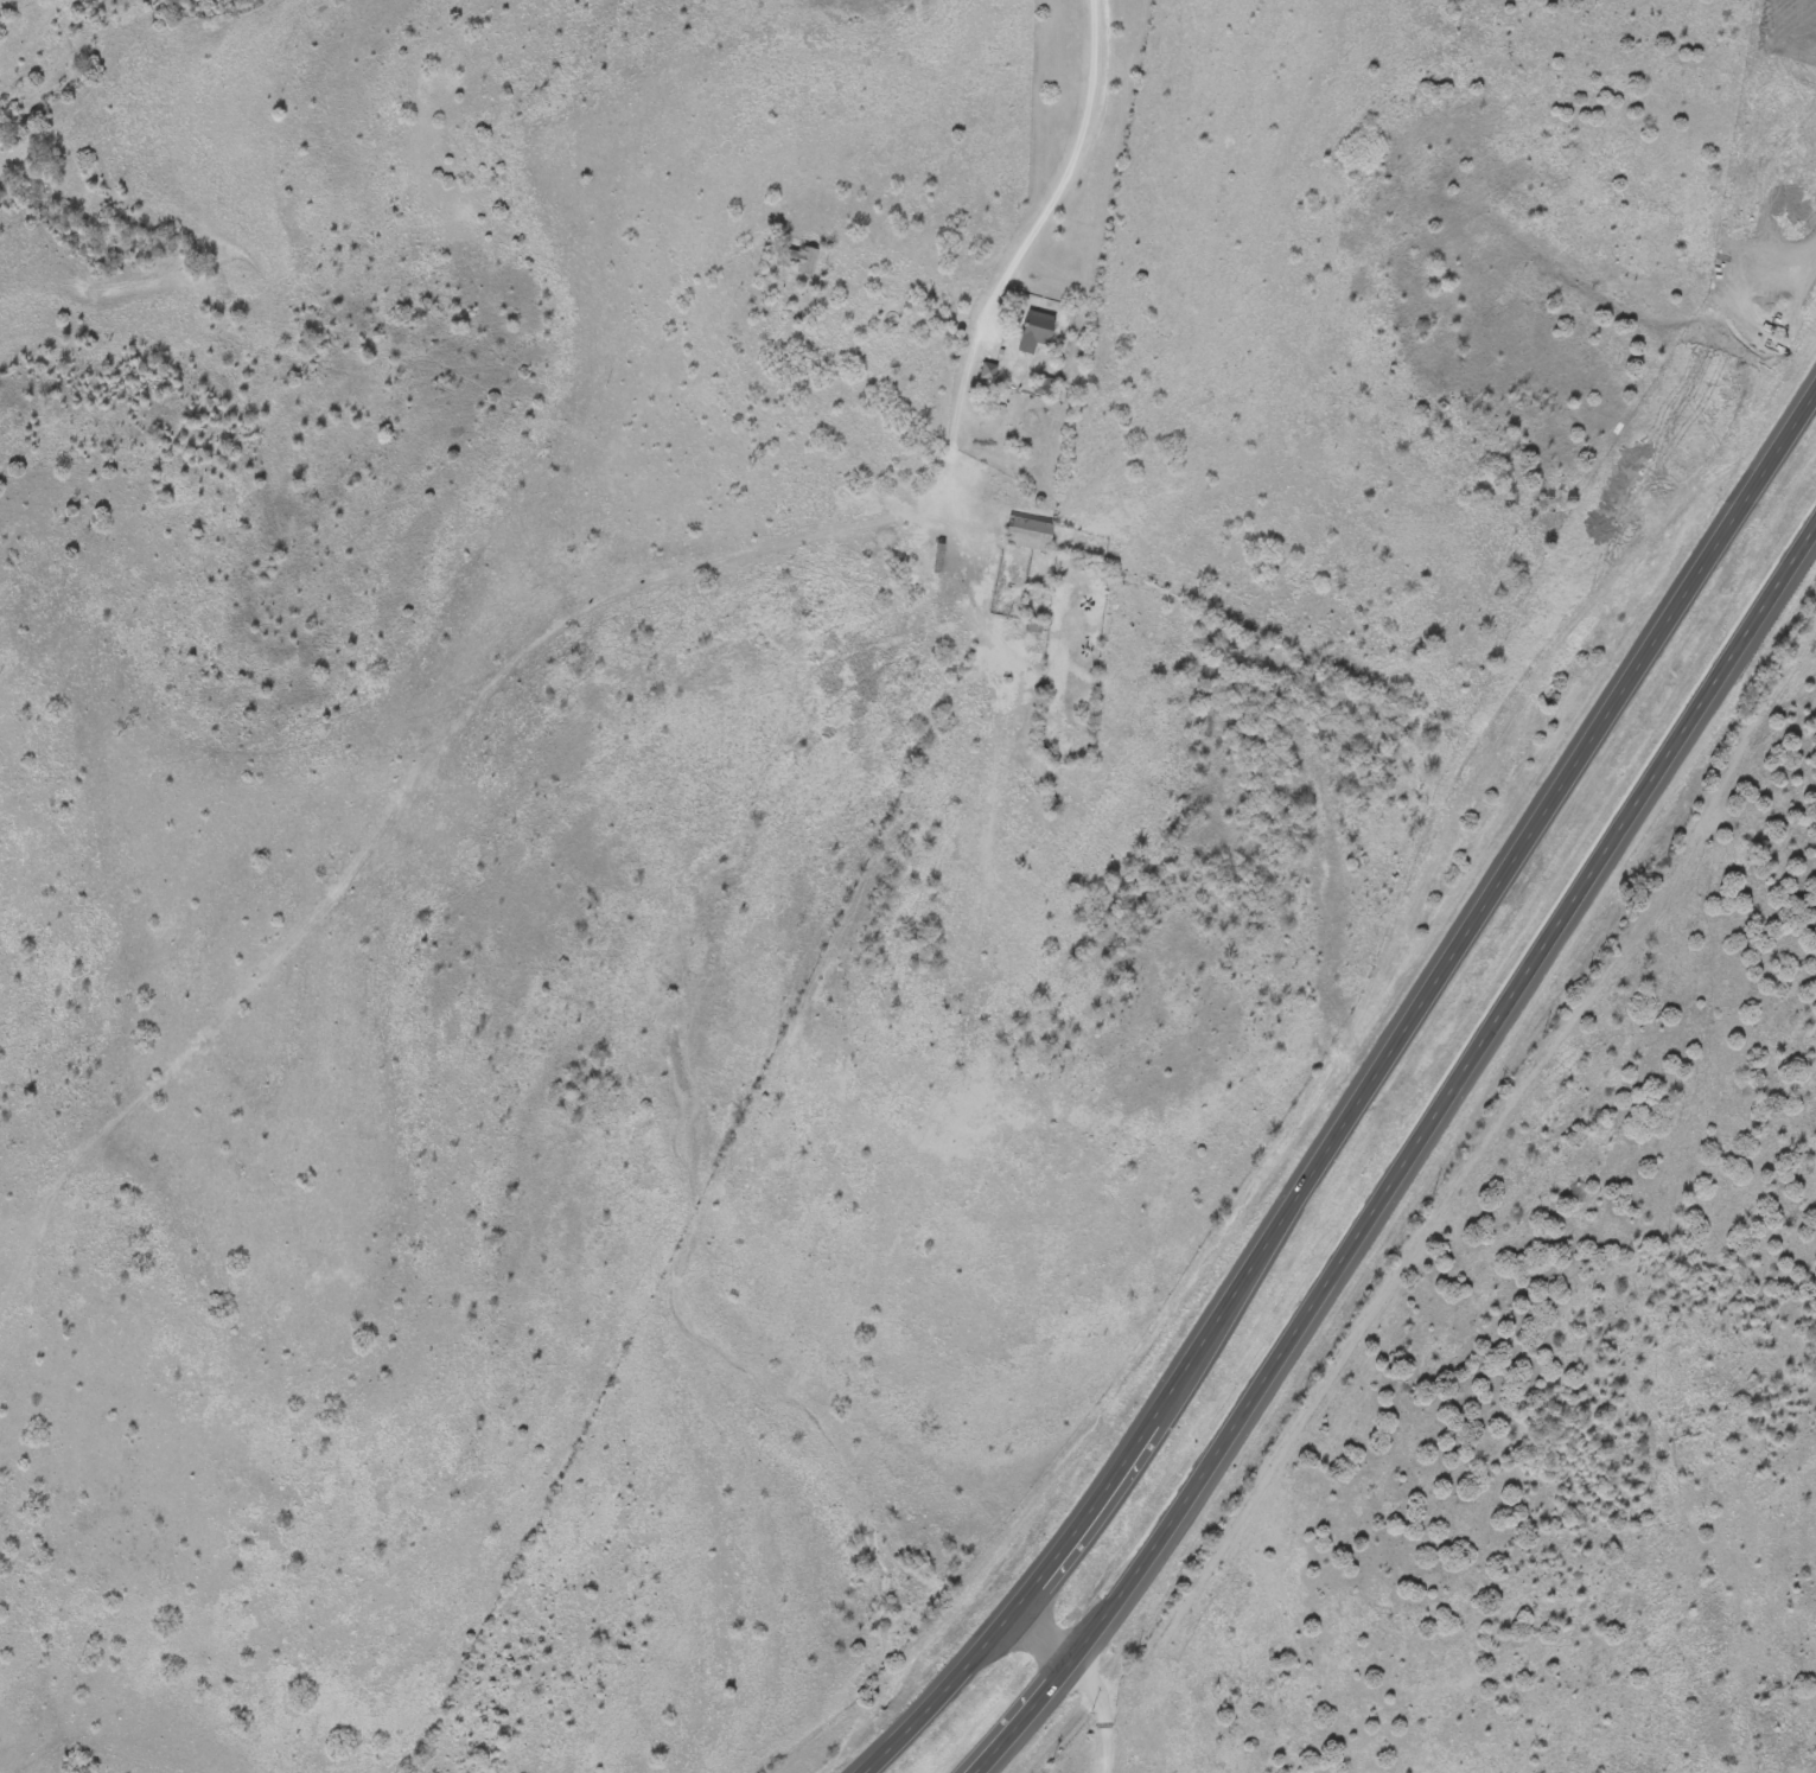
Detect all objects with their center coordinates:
road: (1072, 162)
building: (797, 257)
building: (1037, 330)
building: (1044, 384)
road: (1770, 460)
building: (1028, 531)
road: (1803, 544)
road: (1306, 1169)
road: (1394, 1176)
road: (1087, 1675)

